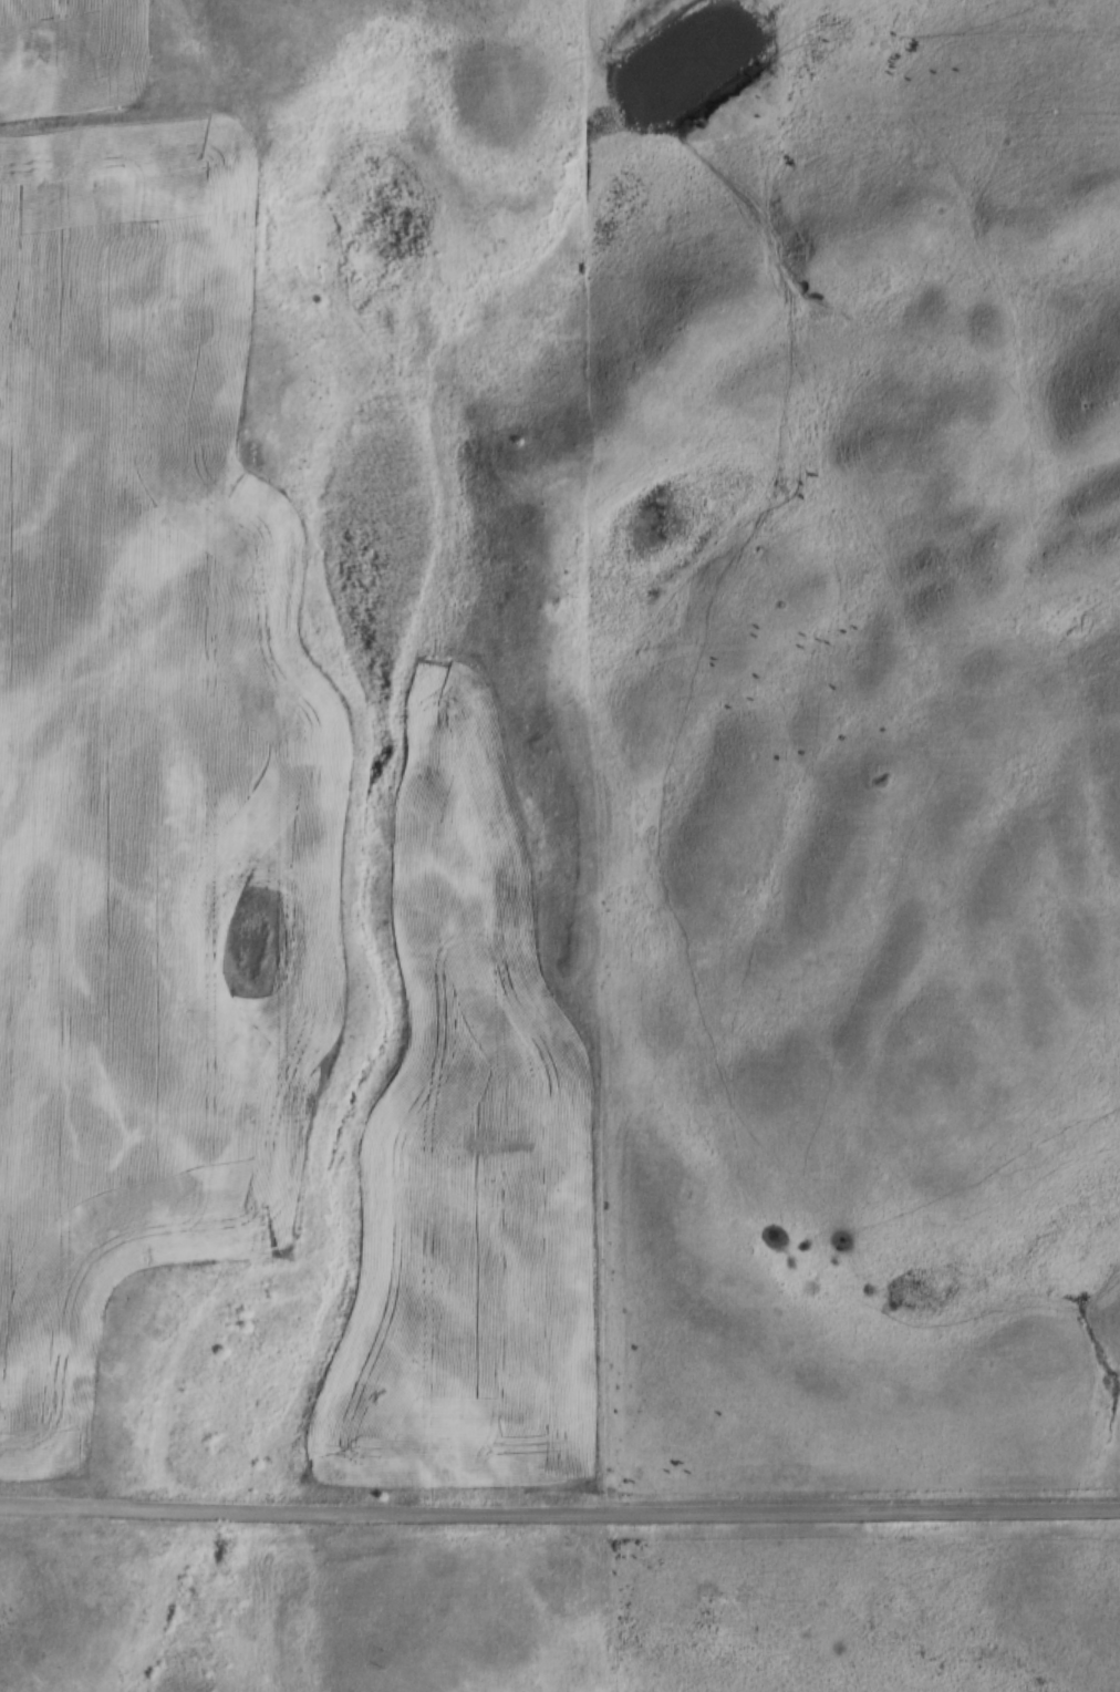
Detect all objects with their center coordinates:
road: (559, 1519)

